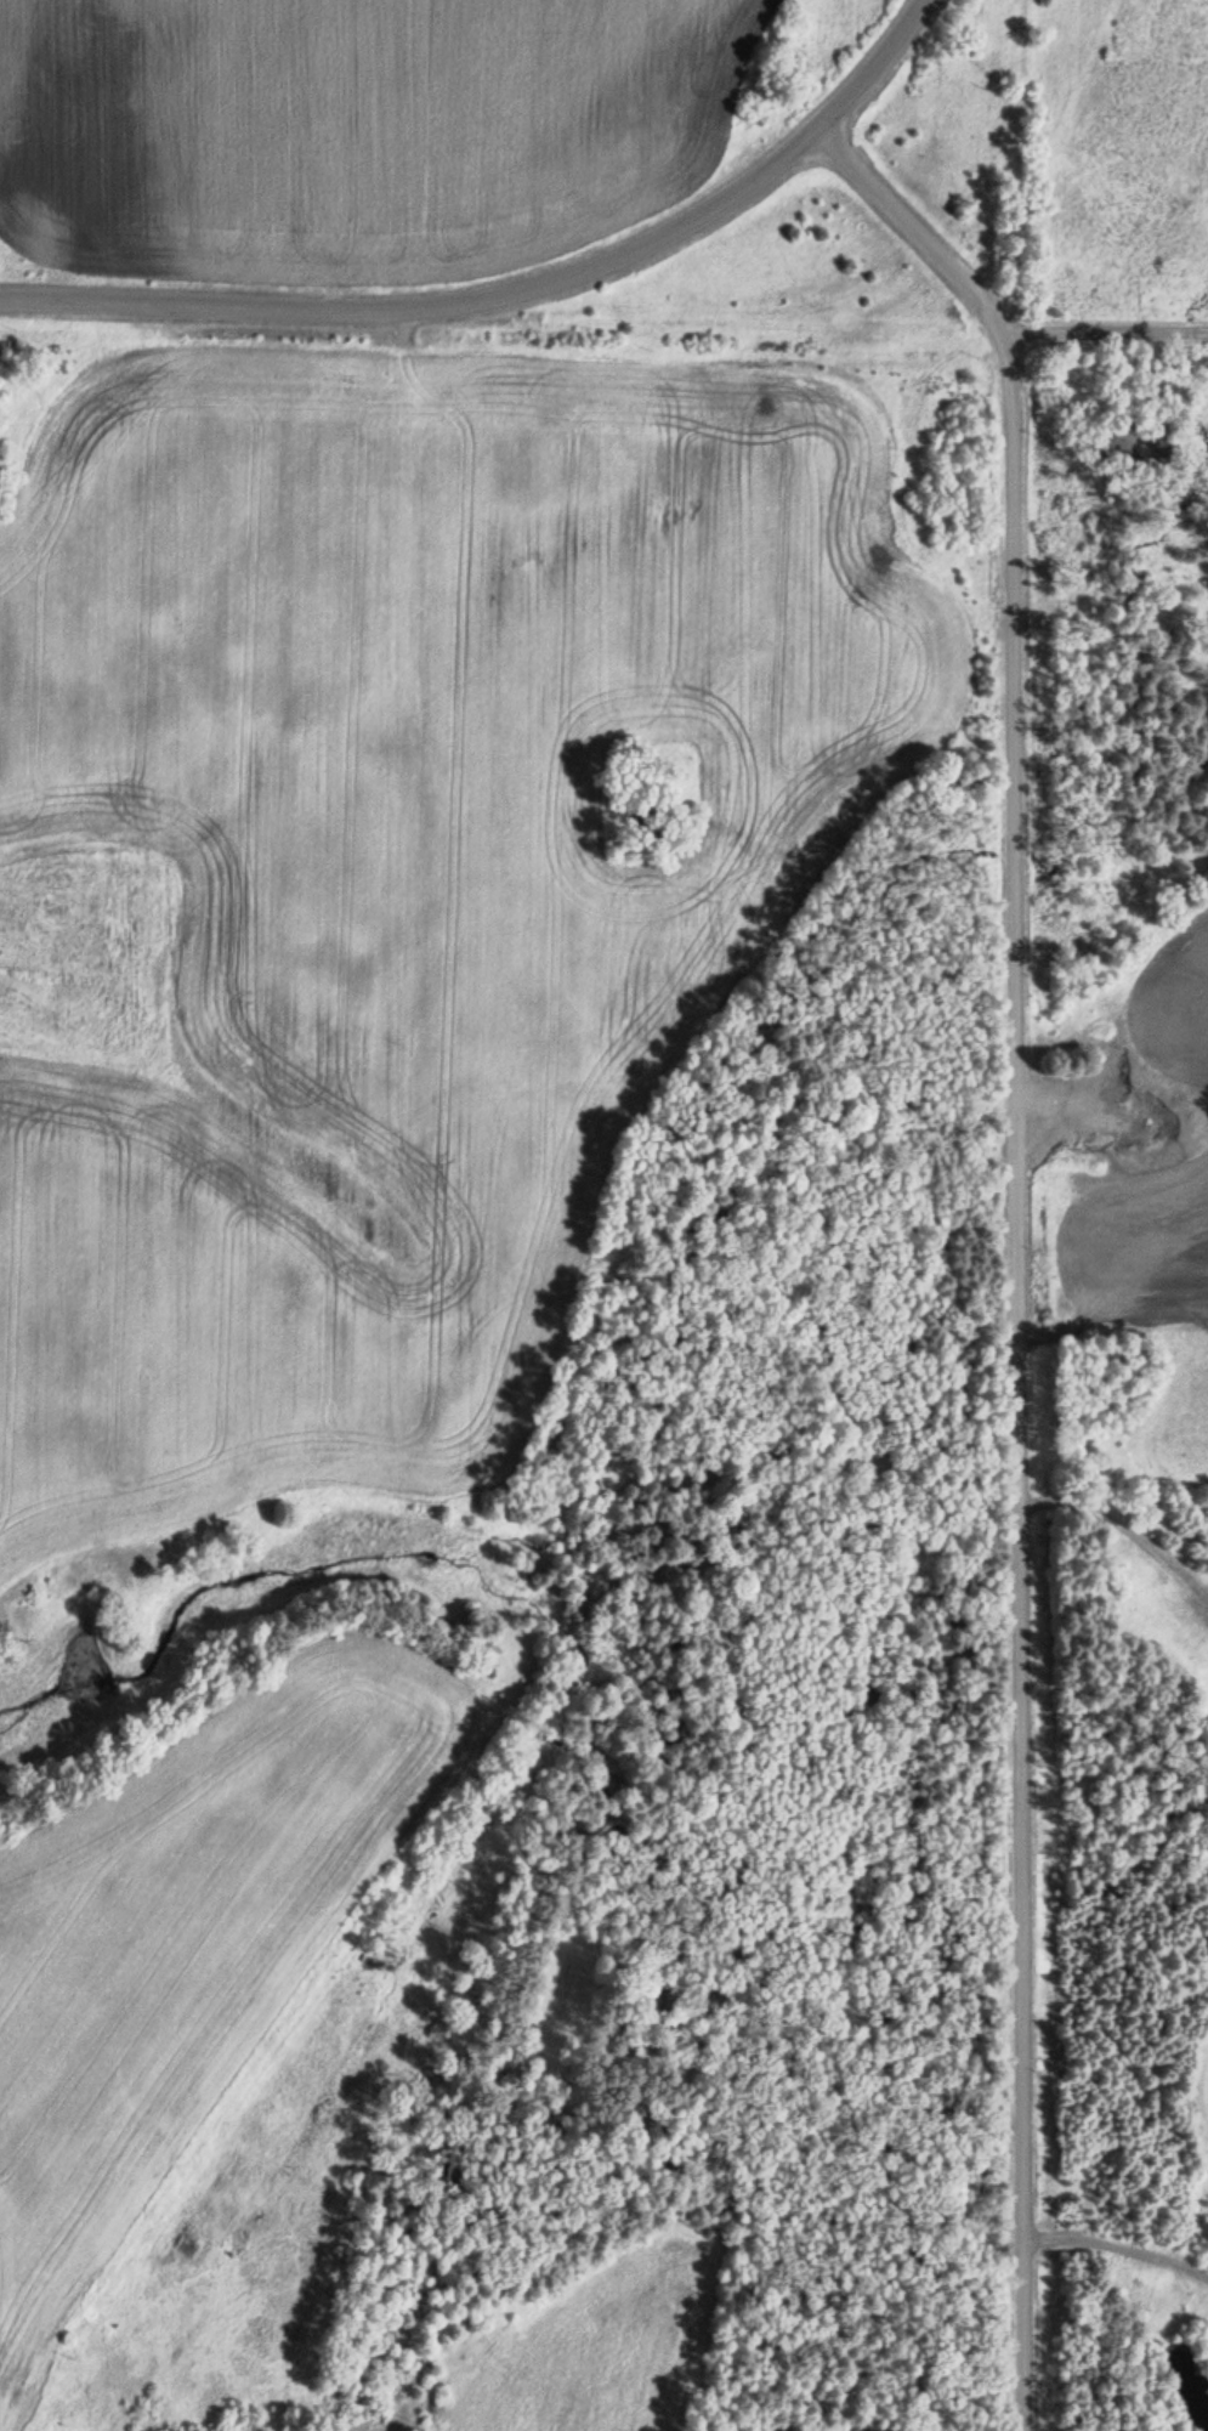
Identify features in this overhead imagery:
road: (875, 66)
road: (915, 229)
road: (431, 304)
road: (1107, 334)
road: (1015, 1382)

